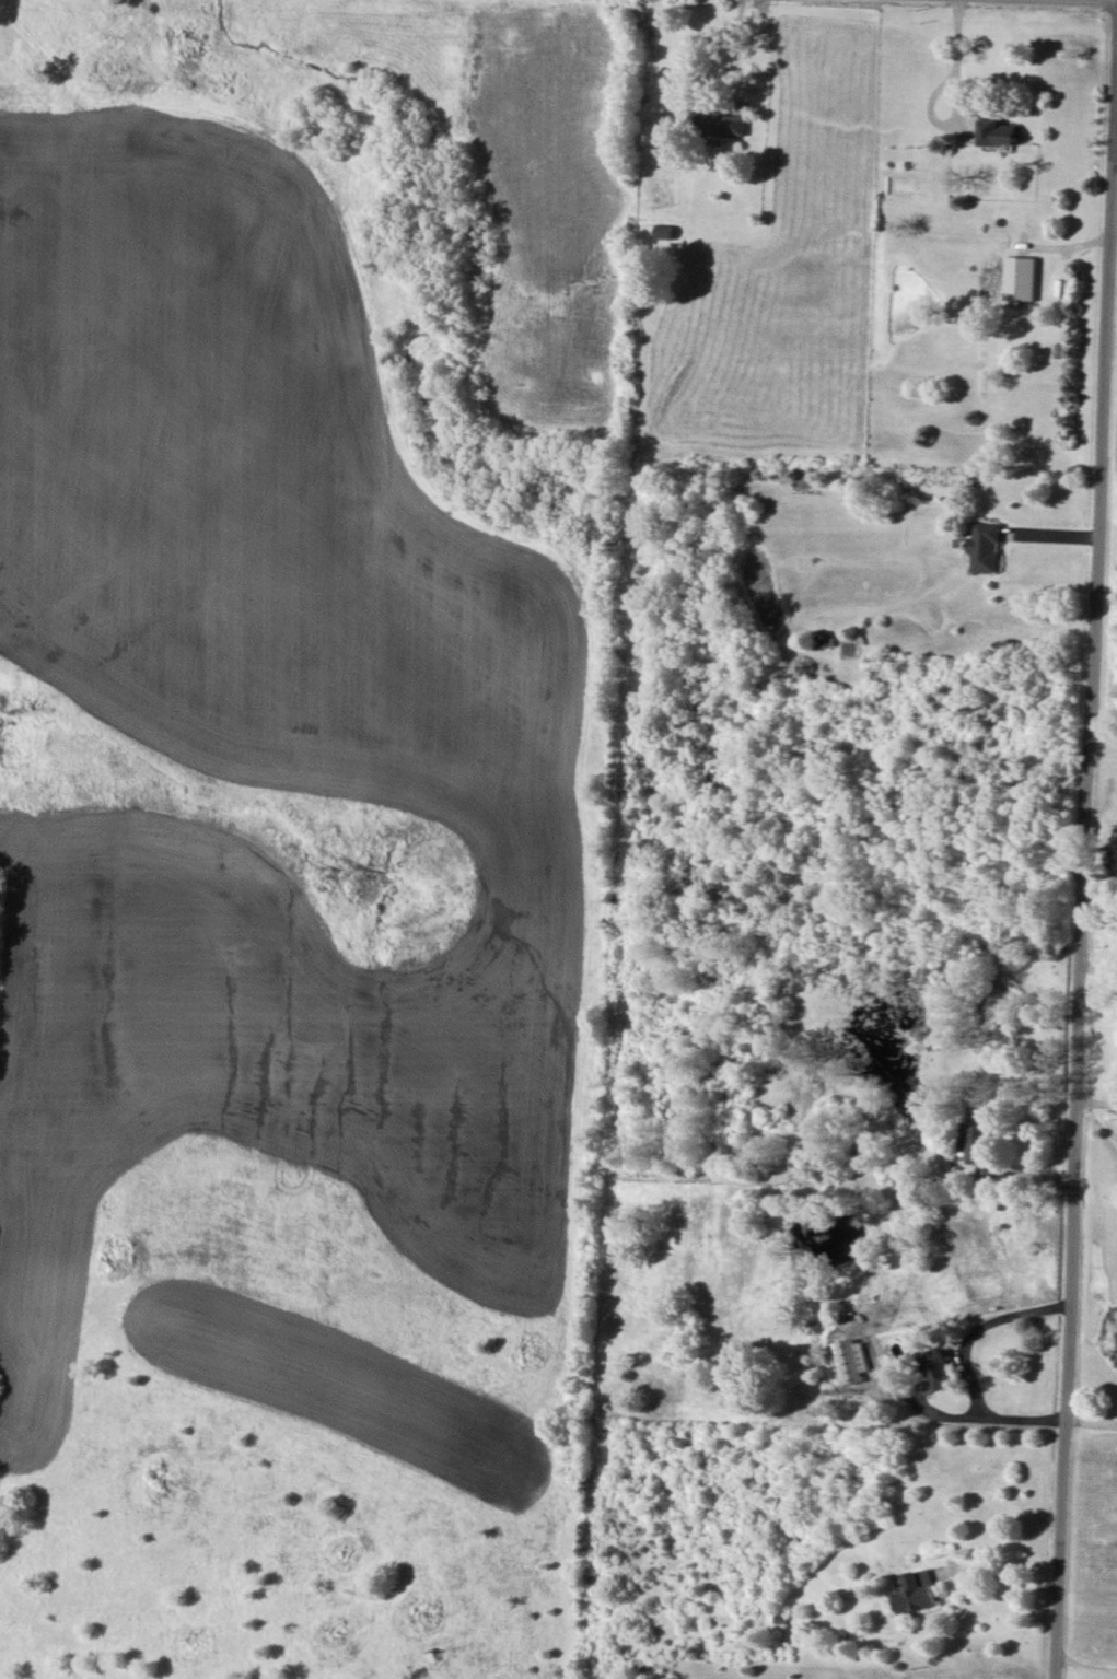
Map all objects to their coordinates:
road: (955, 32)
road: (738, 49)
road: (938, 117)
building: (718, 120)
building: (997, 131)
building: (1021, 278)
building: (985, 546)
road: (1103, 731)
road: (1083, 875)
road: (1097, 970)
road: (1096, 1101)
building: (848, 1361)
road: (965, 1364)
building: (934, 1373)
road: (1090, 1416)
road: (1003, 1581)
building: (917, 1593)
road: (1083, 1669)

